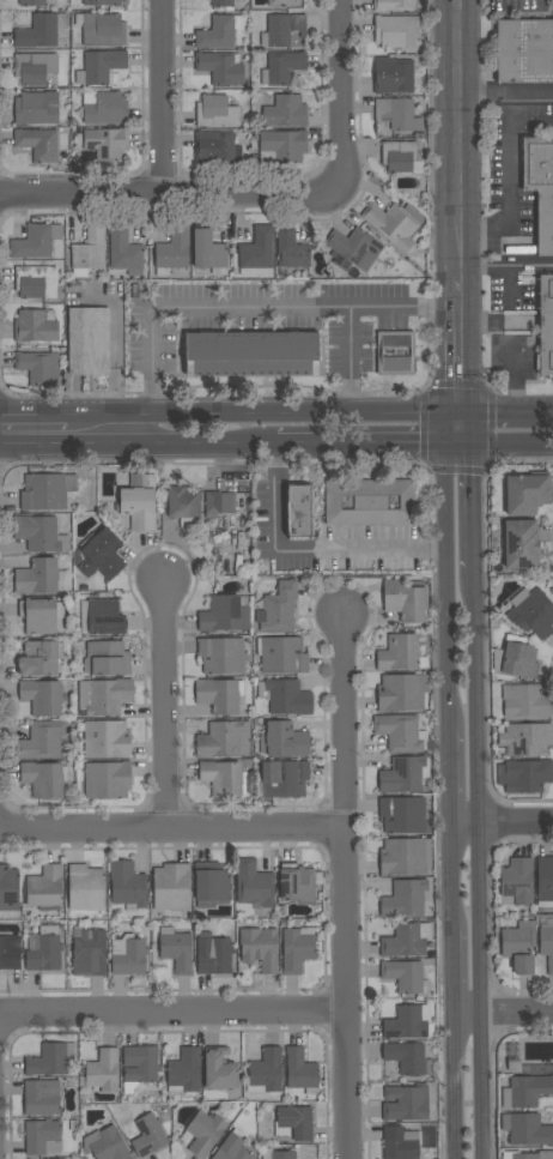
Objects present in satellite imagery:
building: (32, 2)
building: (102, 2)
building: (276, 4)
building: (223, 5)
building: (393, 5)
building: (101, 30)
building: (281, 30)
building: (394, 30)
building: (41, 31)
building: (218, 32)
building: (524, 52)
building: (102, 66)
building: (35, 67)
building: (220, 67)
building: (282, 67)
building: (393, 76)
road: (506, 91)
road: (162, 98)
road: (341, 99)
building: (104, 108)
building: (35, 109)
building: (215, 111)
building: (286, 111)
building: (397, 114)
road: (461, 140)
building: (38, 144)
building: (105, 144)
building: (282, 146)
building: (217, 149)
building: (399, 156)
road: (510, 177)
building: (540, 187)
road: (171, 198)
building: (394, 224)
building: (34, 242)
building: (351, 247)
building: (290, 249)
building: (256, 250)
building: (124, 252)
building: (172, 252)
building: (207, 252)
building: (87, 253)
road: (508, 268)
building: (35, 282)
road: (257, 307)
building: (546, 325)
building: (36, 326)
building: (89, 342)
road: (461, 344)
building: (250, 354)
building: (395, 354)
road: (114, 356)
road: (348, 357)
building: (39, 369)
road: (515, 376)
traffic signals: (461, 409)
road: (506, 409)
road: (265, 410)
road: (35, 412)
road: (511, 443)
road: (371, 445)
traffic signals: (445, 445)
traffic signals: (470, 445)
road: (136, 446)
road: (472, 490)
building: (47, 491)
building: (525, 493)
building: (218, 502)
building: (369, 502)
building: (139, 505)
building: (183, 505)
building: (298, 512)
building: (39, 533)
building: (521, 545)
road: (310, 550)
building: (101, 555)
road: (445, 567)
building: (37, 578)
building: (406, 600)
building: (278, 609)
building: (531, 614)
building: (223, 615)
building: (42, 616)
building: (104, 617)
building: (402, 654)
building: (221, 656)
building: (281, 656)
building: (39, 658)
building: (107, 659)
building: (516, 660)
building: (400, 693)
building: (103, 696)
building: (218, 696)
building: (41, 698)
building: (285, 698)
road: (475, 700)
building: (525, 701)
road: (165, 706)
building: (401, 732)
building: (107, 740)
building: (525, 740)
building: (42, 741)
building: (224, 741)
building: (282, 741)
building: (405, 775)
building: (523, 775)
building: (221, 778)
building: (44, 779)
building: (284, 779)
road: (448, 779)
building: (107, 780)
building: (402, 815)
road: (515, 826)
road: (463, 827)
road: (172, 831)
building: (405, 857)
road: (450, 879)
building: (545, 879)
building: (517, 881)
building: (211, 882)
building: (297, 883)
building: (254, 885)
building: (127, 886)
building: (171, 887)
road: (346, 887)
building: (8, 888)
building: (44, 888)
building: (85, 888)
building: (406, 899)
road: (479, 922)
building: (406, 940)
building: (519, 946)
building: (546, 947)
building: (259, 948)
building: (43, 949)
building: (297, 949)
building: (176, 950)
building: (10, 953)
building: (89, 953)
building: (128, 955)
building: (213, 955)
road: (452, 974)
building: (406, 976)
road: (174, 1013)
road: (517, 1016)
road: (467, 1018)
building: (408, 1022)
building: (407, 1058)
building: (47, 1061)
building: (139, 1066)
building: (512, 1066)
building: (536, 1069)
building: (219, 1070)
building: (300, 1070)
building: (102, 1072)
building: (182, 1072)
building: (265, 1073)
road: (455, 1088)
road: (481, 1088)
building: (525, 1091)
building: (41, 1098)
building: (406, 1104)
building: (293, 1123)
building: (527, 1129)
building: (205, 1133)
building: (41, 1136)
building: (148, 1136)
building: (400, 1143)
building: (105, 1145)
building: (232, 1147)
building: (276, 1154)
building: (527, 1155)

